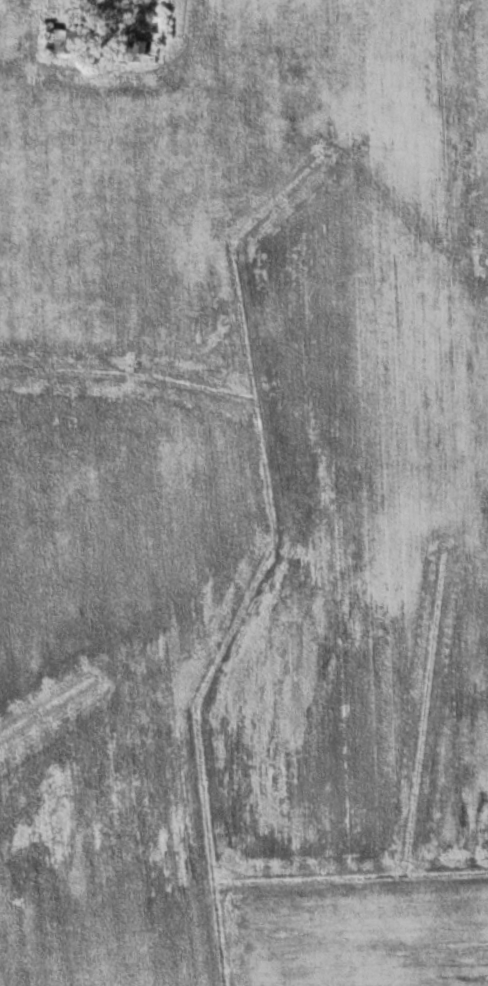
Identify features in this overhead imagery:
building: (59, 37)

